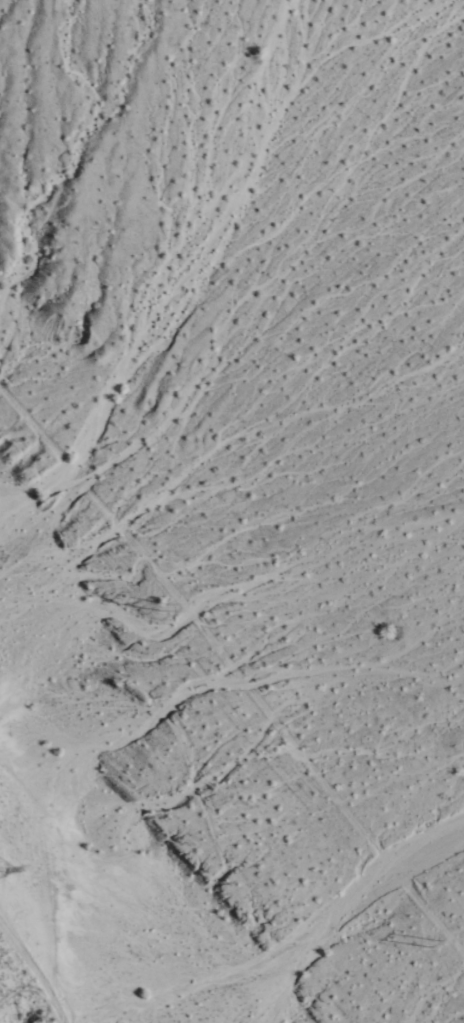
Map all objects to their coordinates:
power tower: (169, 607)
power tower: (441, 947)

